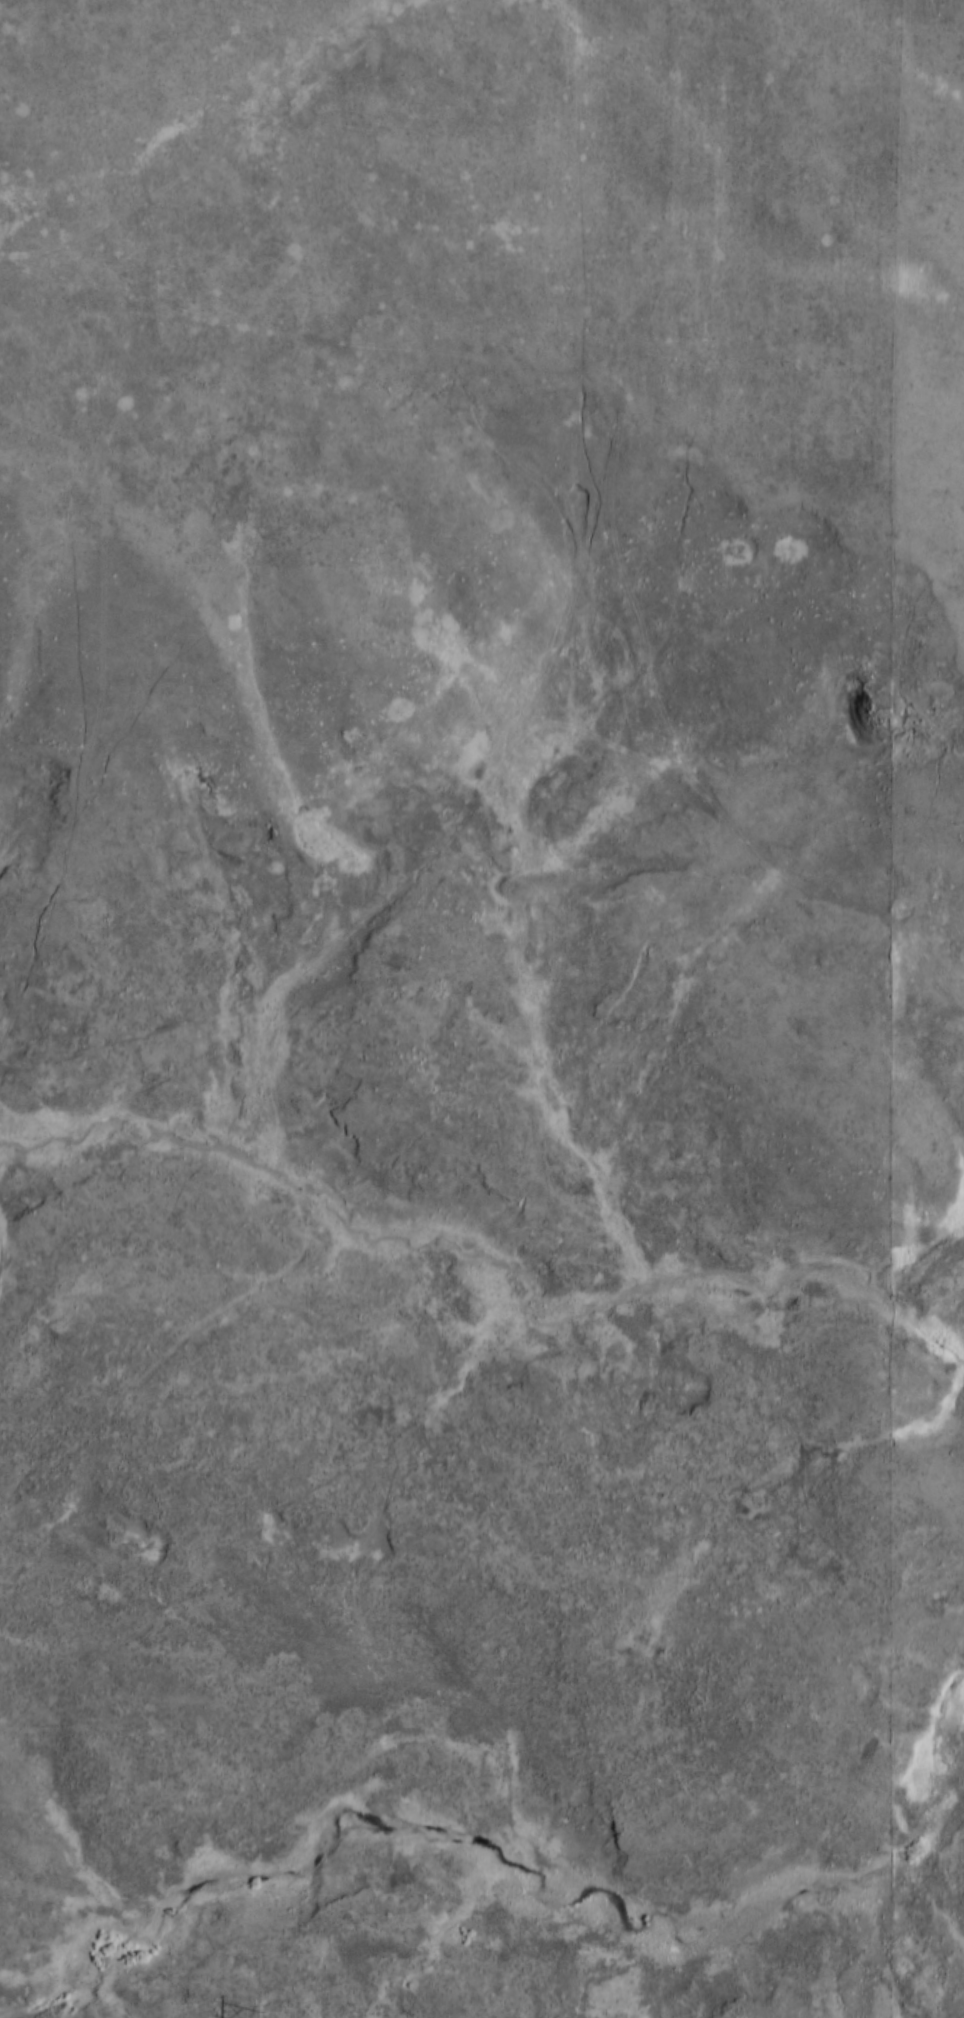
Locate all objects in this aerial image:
road: (224, 124)
road: (561, 501)

